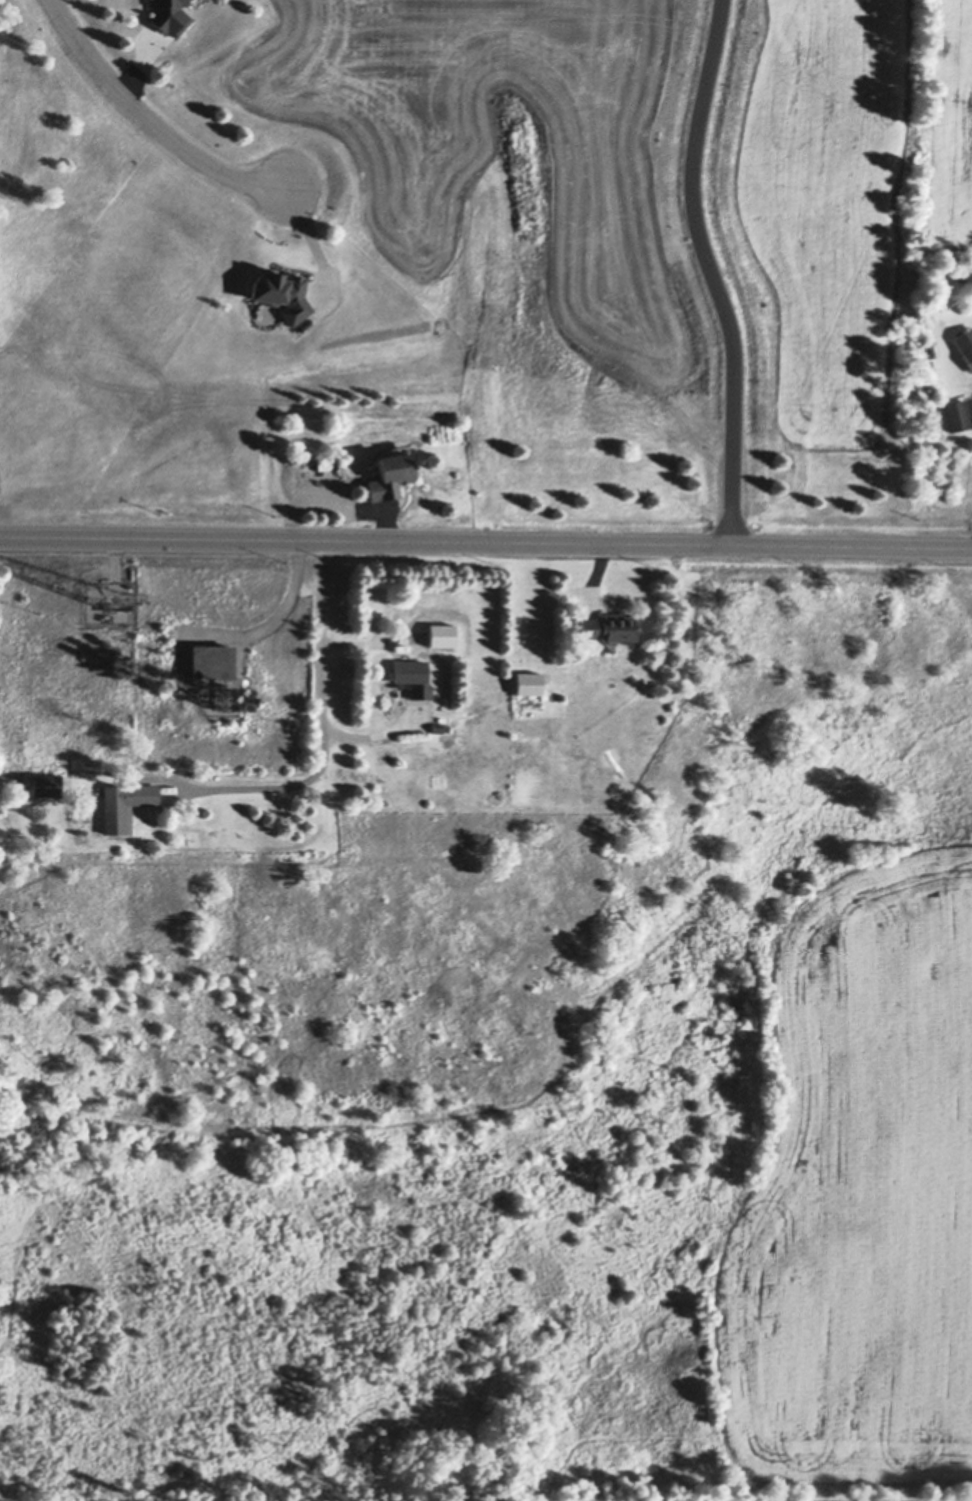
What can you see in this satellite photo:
road: (150, 119)
road: (721, 272)
building: (968, 354)
building: (957, 415)
building: (323, 464)
building: (390, 476)
road: (486, 543)
building: (120, 605)
building: (609, 627)
building: (211, 662)
building: (413, 677)
building: (529, 683)
building: (439, 727)
road: (322, 728)
building: (200, 772)
building: (46, 785)
building: (124, 804)

